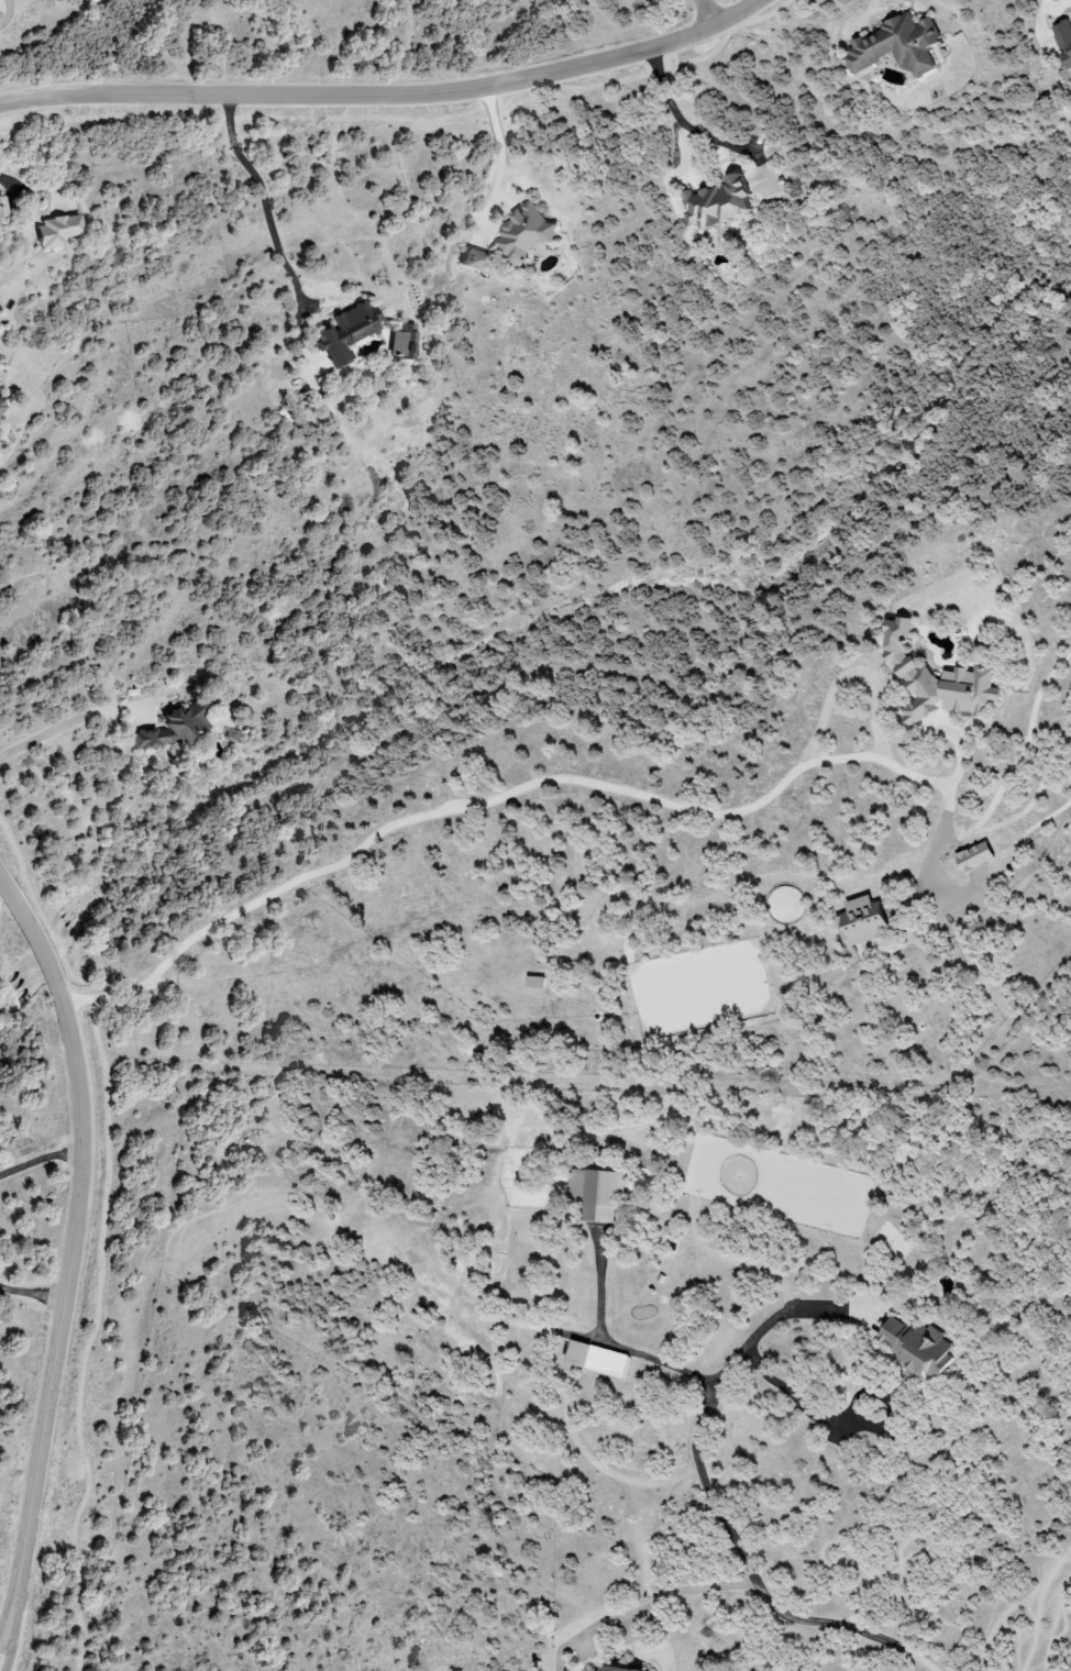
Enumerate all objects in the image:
road: (937, 7)
road: (708, 13)
building: (1063, 41)
building: (897, 45)
road: (390, 93)
road: (680, 121)
road: (500, 161)
road: (265, 197)
building: (0, 202)
building: (717, 202)
building: (56, 230)
building: (523, 232)
building: (473, 261)
building: (345, 332)
building: (401, 342)
building: (0, 402)
building: (935, 679)
building: (175, 724)
road: (40, 738)
road: (455, 805)
road: (945, 829)
building: (974, 857)
building: (862, 921)
building: (534, 982)
road: (42, 1161)
building: (595, 1194)
road: (73, 1242)
road: (31, 1294)
road: (614, 1343)
building: (916, 1347)
building: (597, 1359)
road: (844, 1421)
road: (711, 1503)
road: (664, 1600)
road: (4, 1627)
road: (7, 1644)
building: (617, 1669)

